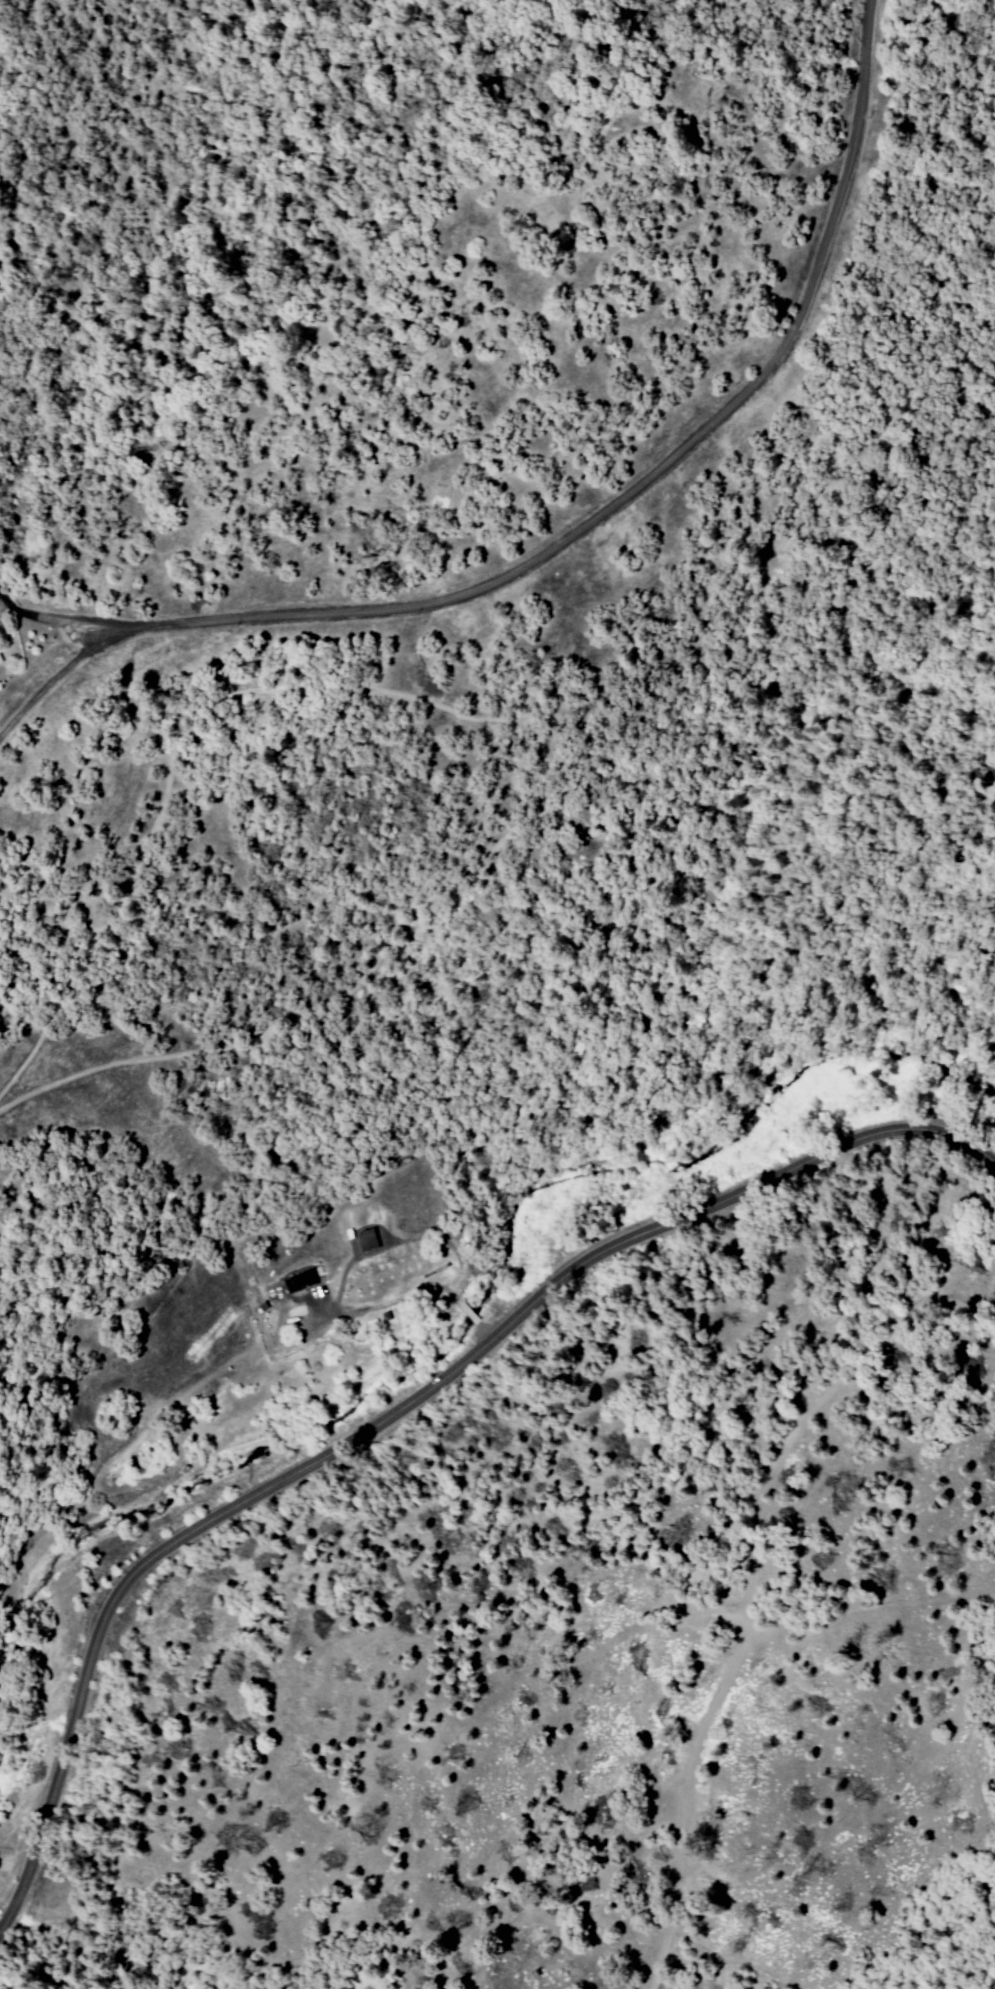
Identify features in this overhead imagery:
road: (639, 484)
road: (55, 621)
road: (55, 679)
building: (370, 1239)
building: (303, 1280)
road: (394, 1416)

